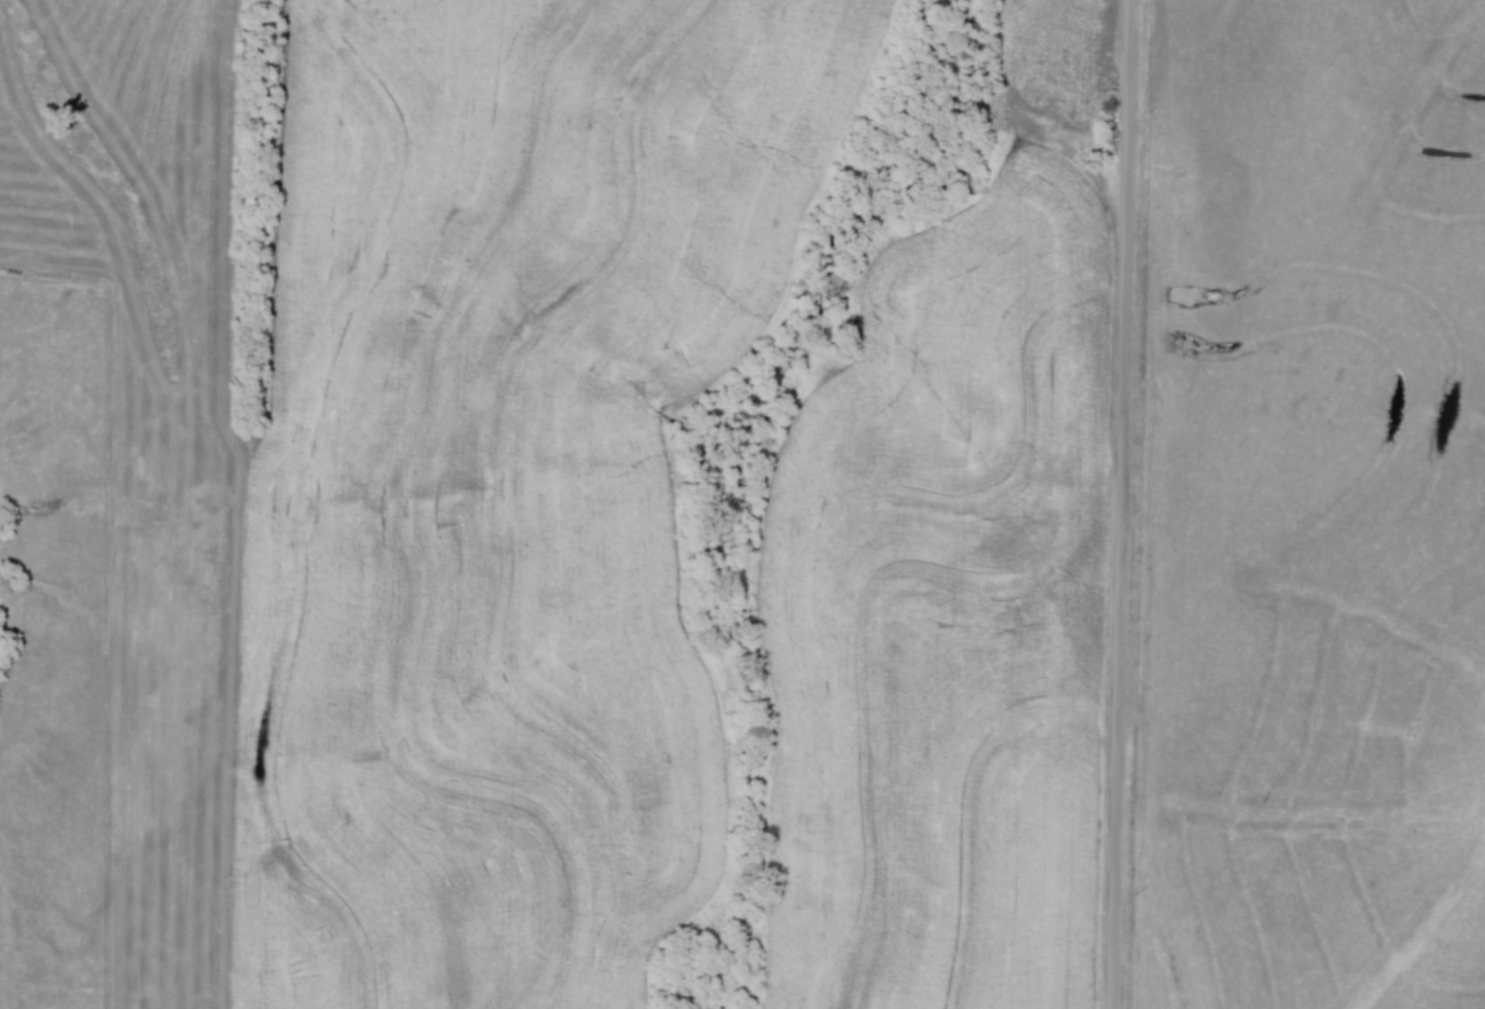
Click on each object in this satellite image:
road: (1123, 504)

